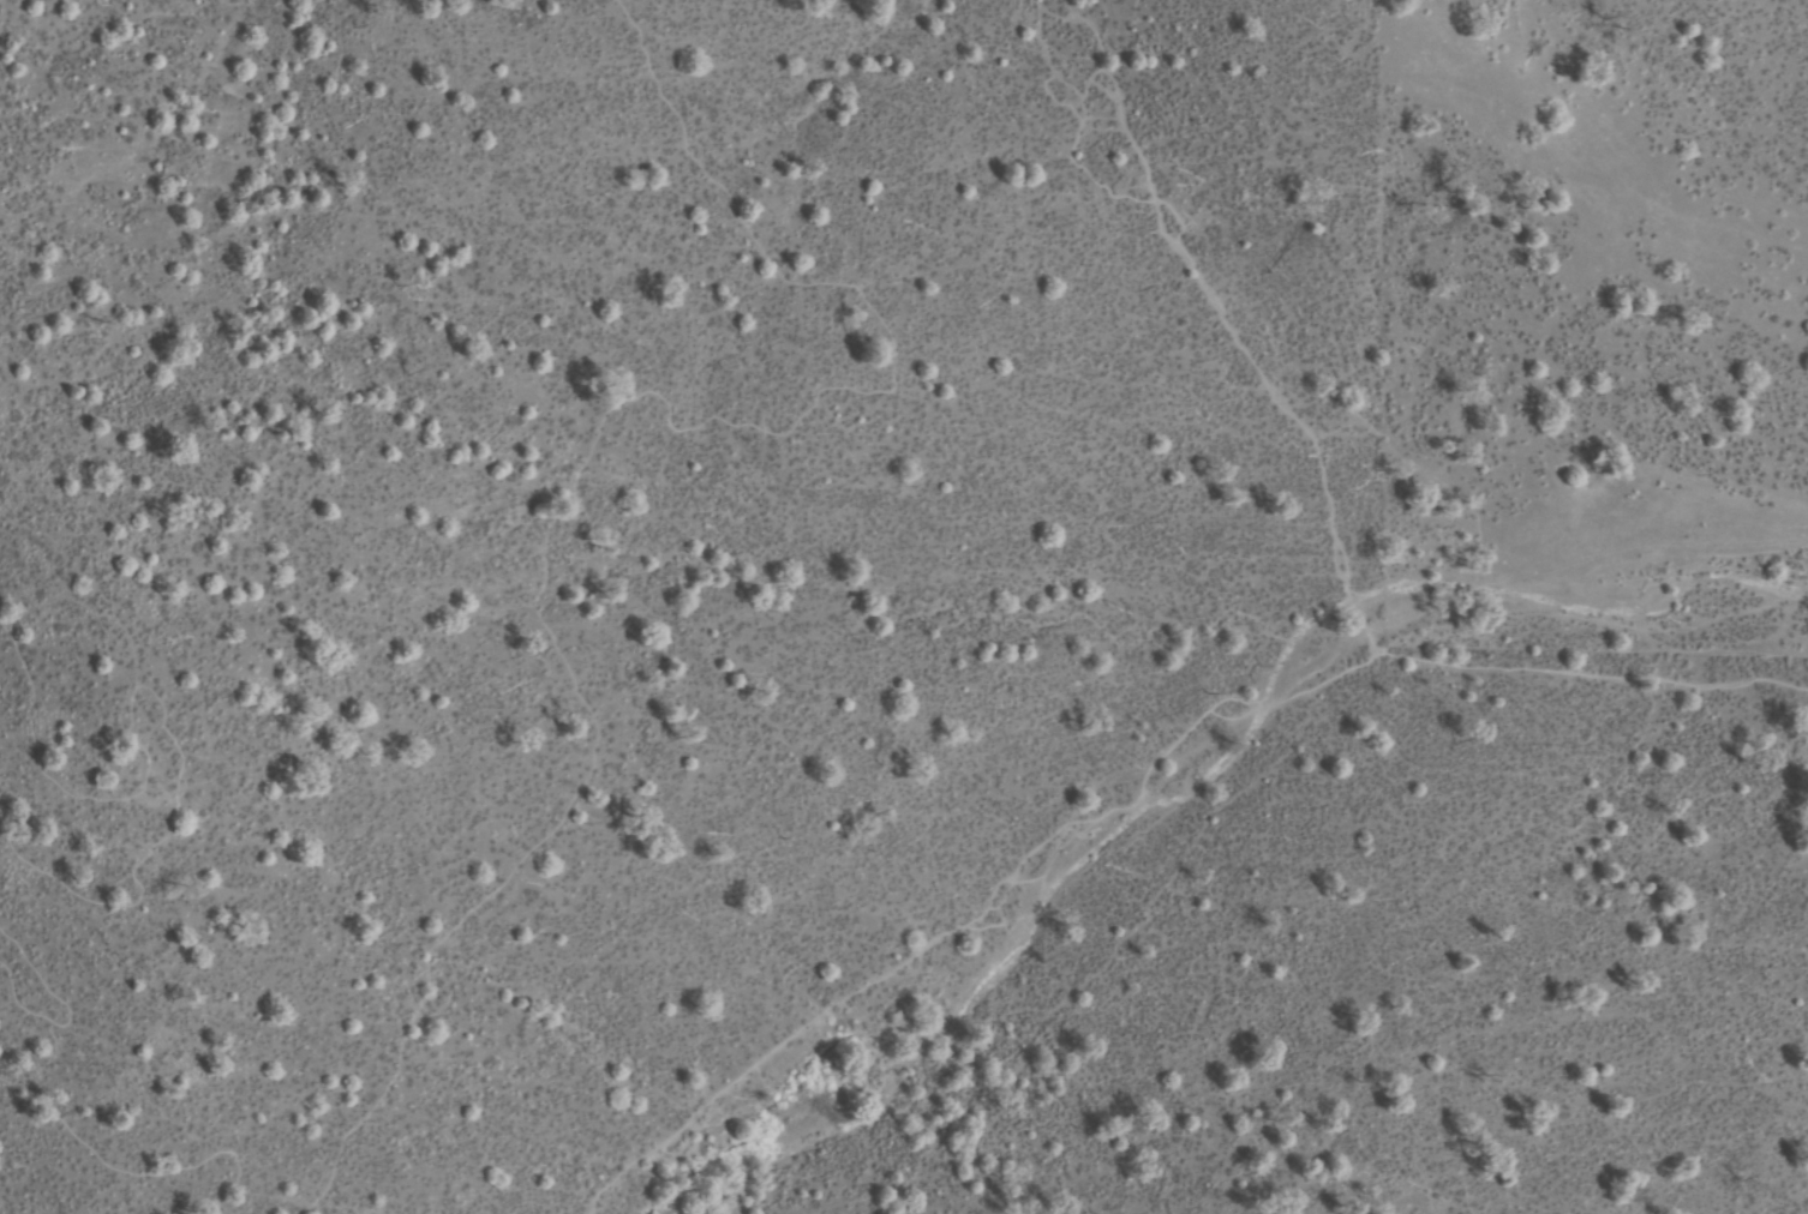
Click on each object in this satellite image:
road: (1227, 319)
road: (581, 456)
road: (1588, 675)
road: (134, 678)
road: (974, 909)
road: (60, 1009)
road: (167, 1150)

